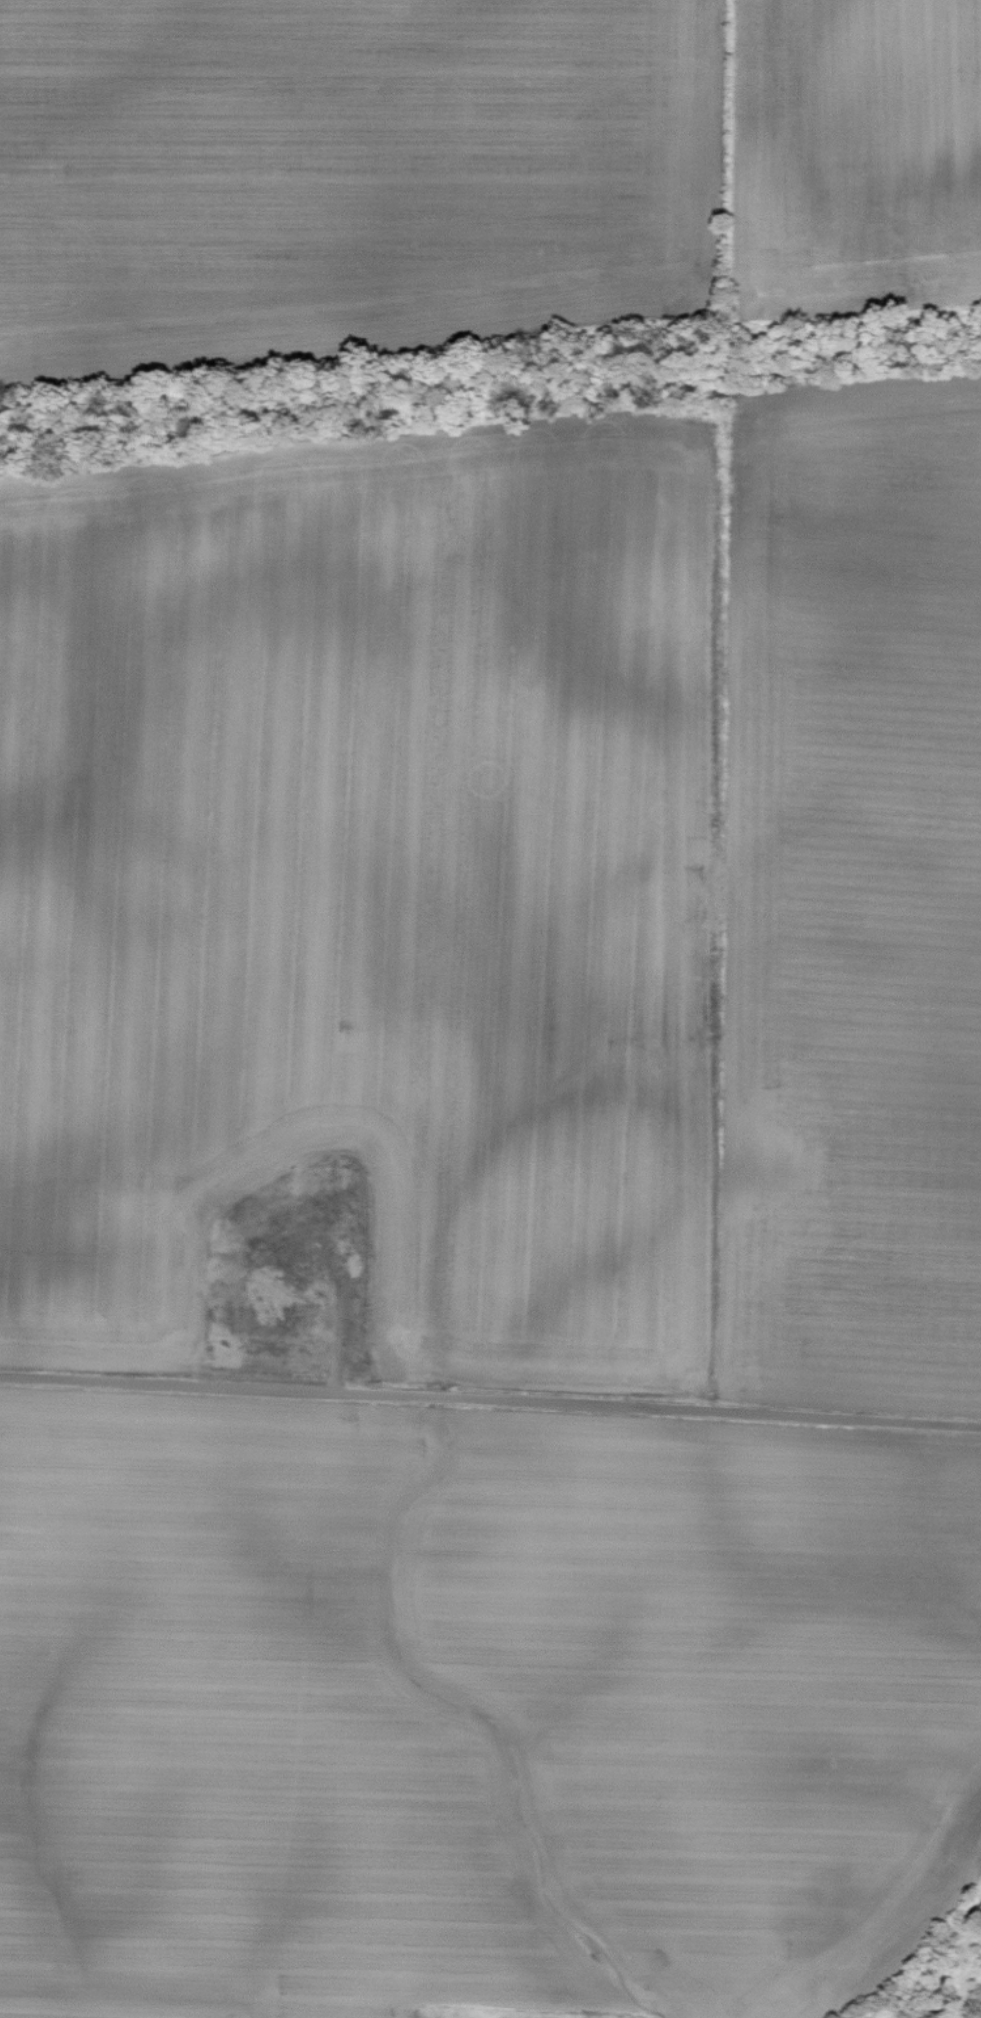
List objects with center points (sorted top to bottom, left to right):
road: (490, 1406)

